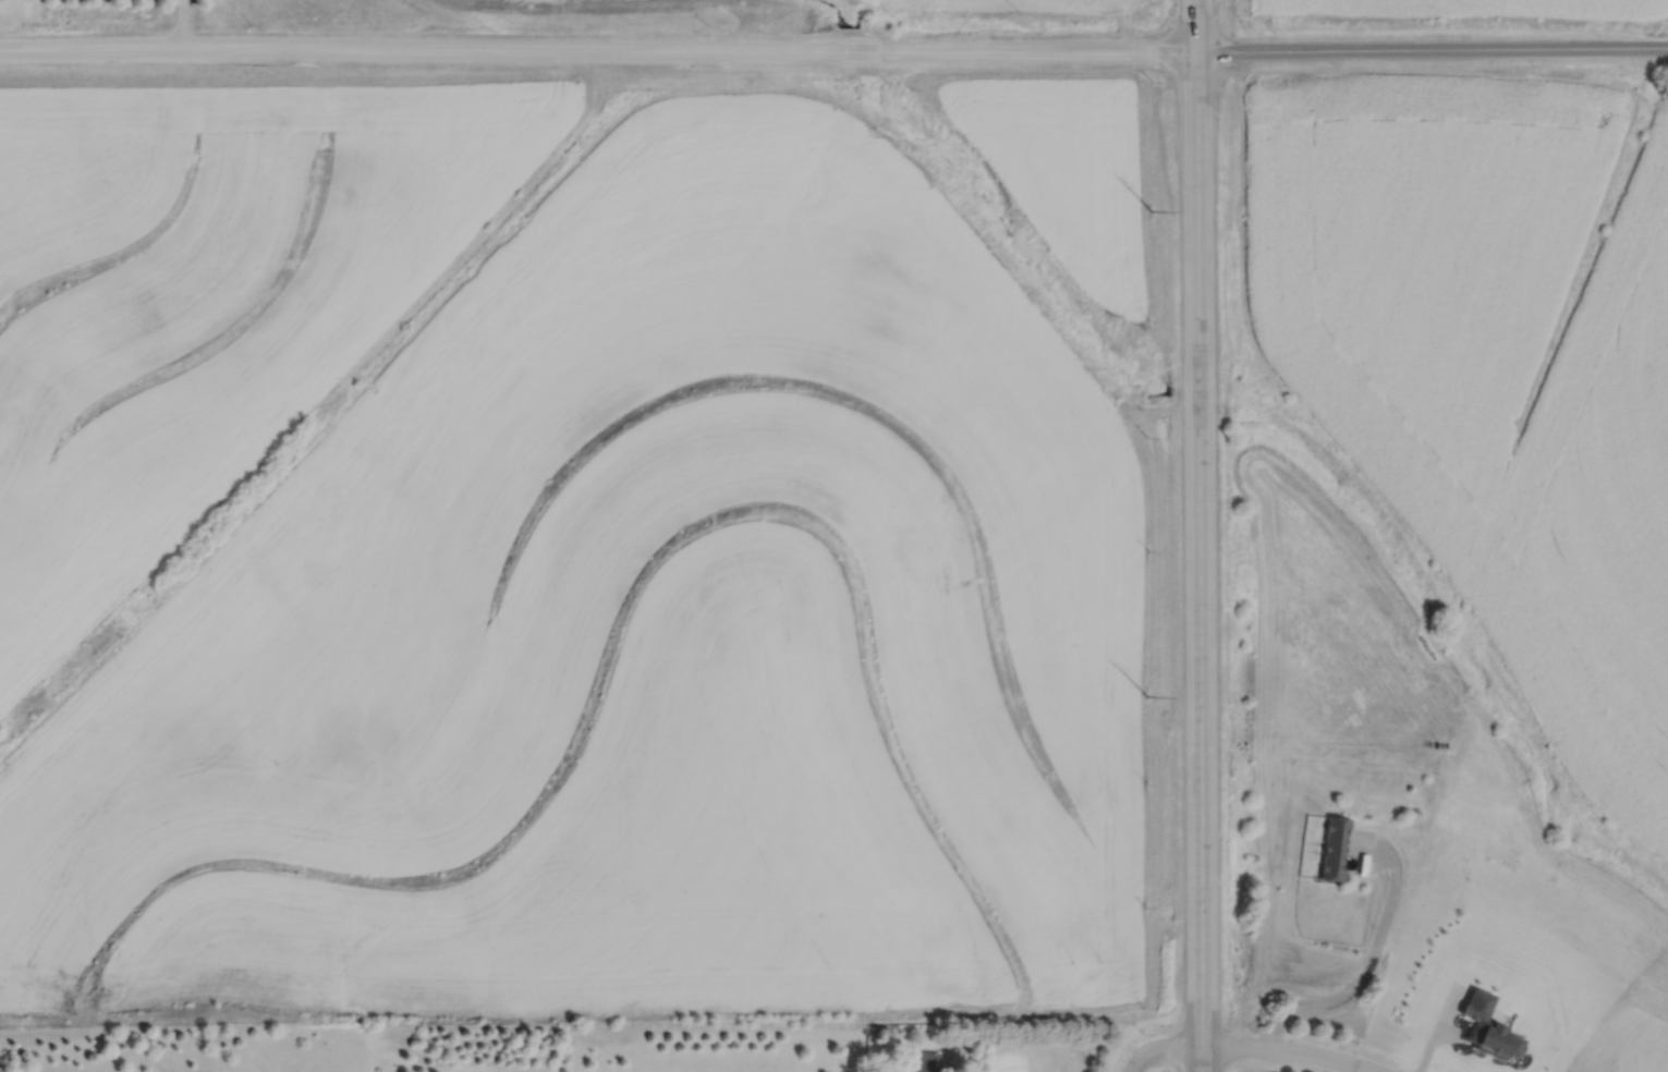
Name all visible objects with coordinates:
road: (181, 25)
road: (1432, 50)
road: (597, 51)
power tower: (1149, 210)
road: (1196, 536)
power tower: (1146, 696)
building: (1330, 850)
road: (1366, 965)
road: (1158, 1047)
road: (1286, 1051)
building: (918, 1061)

